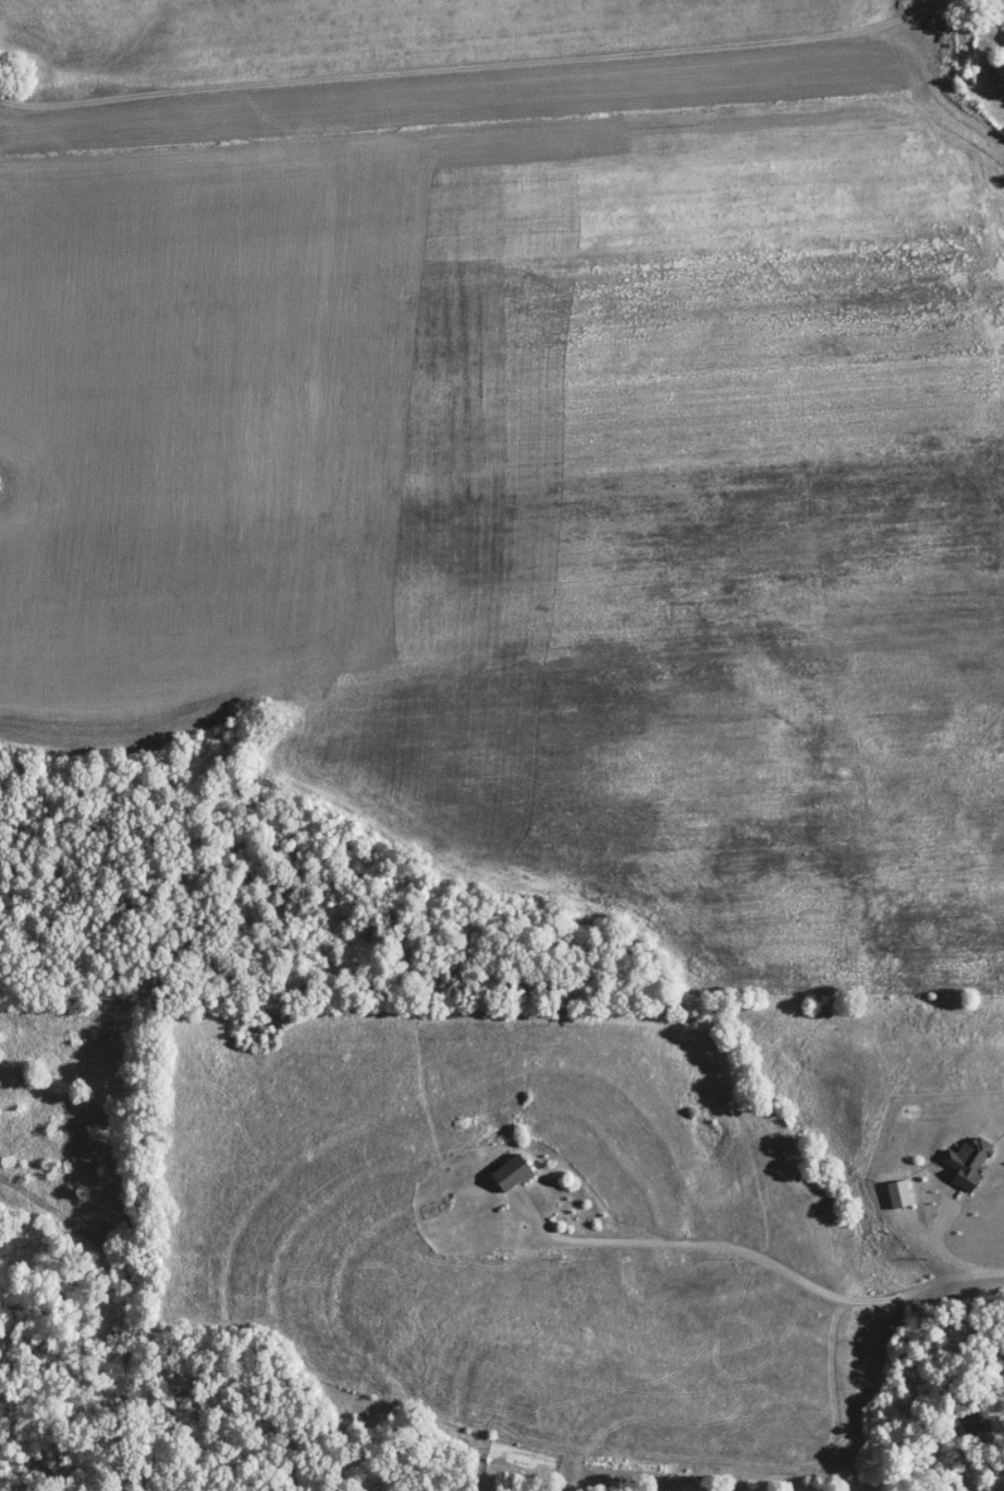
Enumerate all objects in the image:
road: (933, 2)
building: (514, 1173)
building: (899, 1194)
road: (758, 1258)
road: (1002, 1490)

